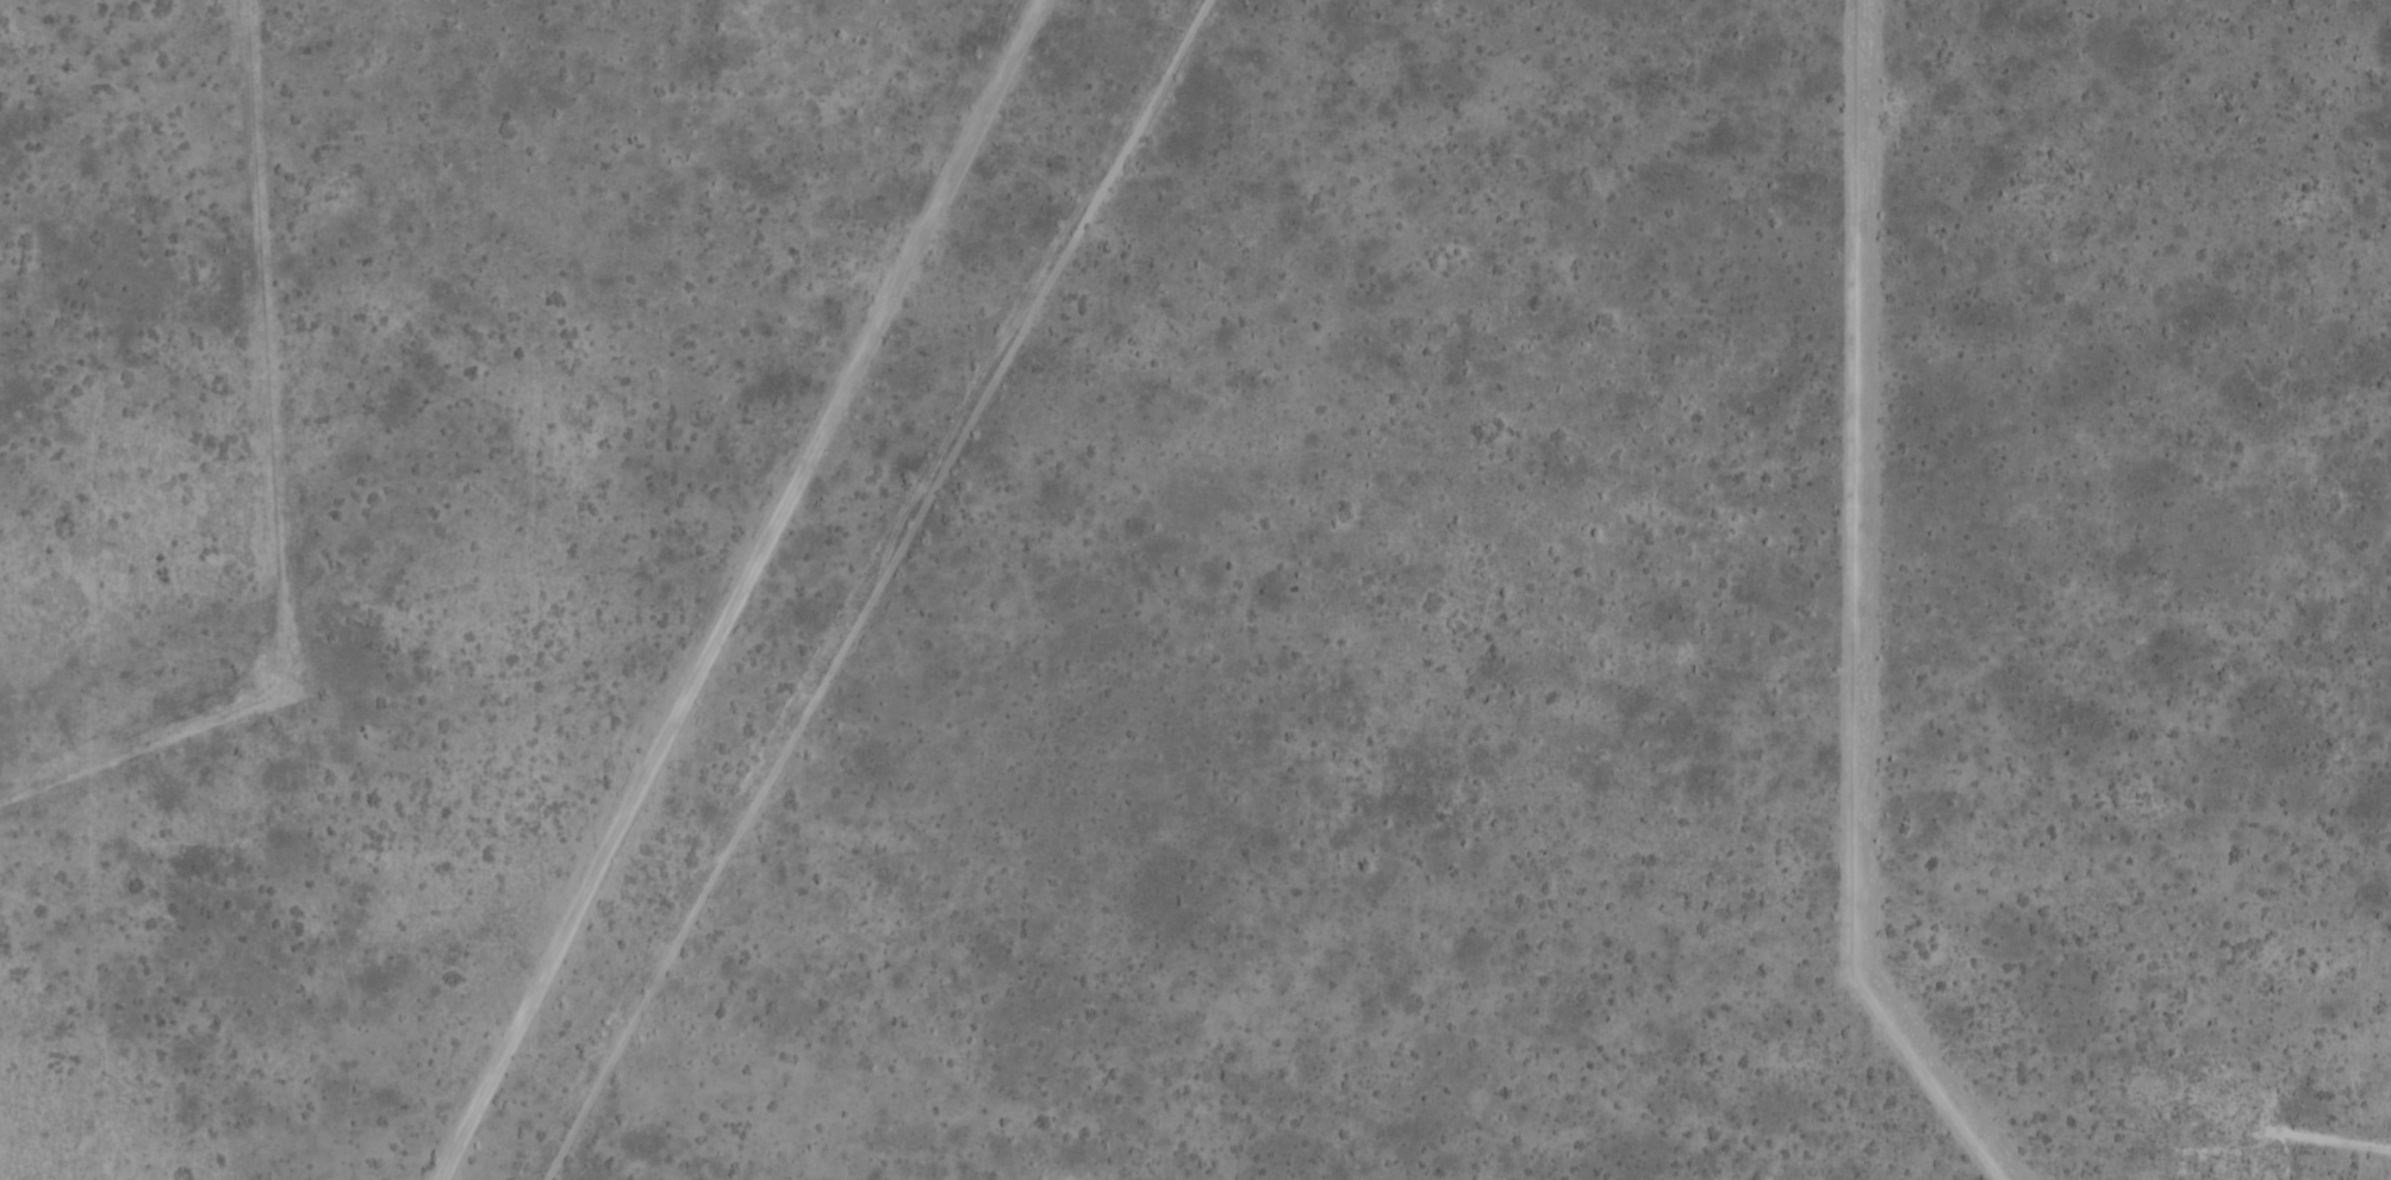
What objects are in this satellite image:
road: (2311, 1129)

